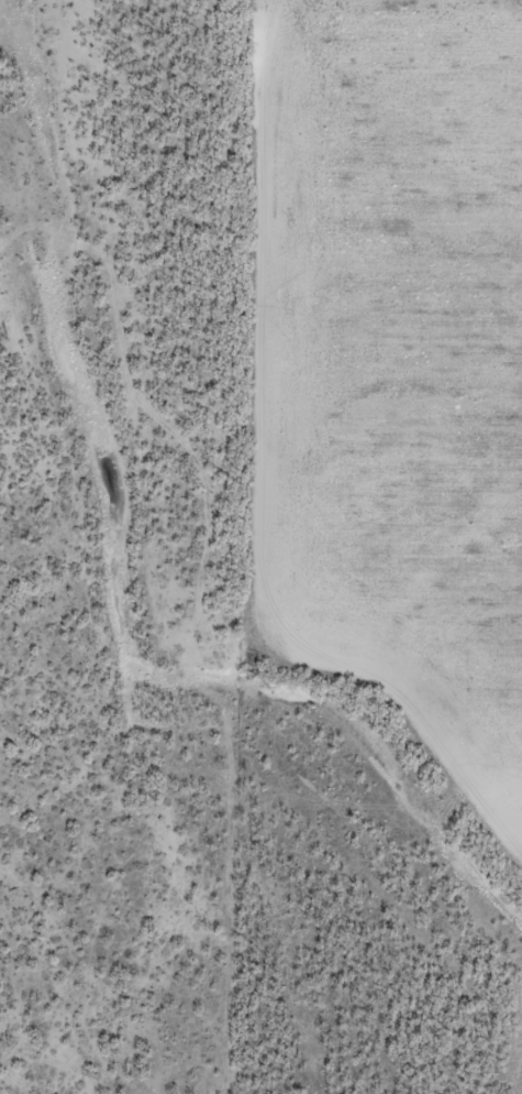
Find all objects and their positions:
crop: (393, 361)
road: (153, 408)

